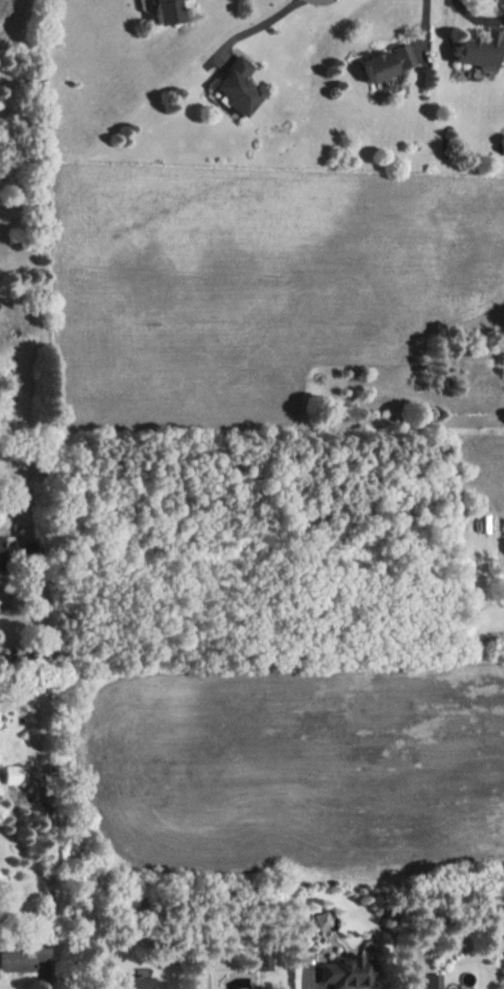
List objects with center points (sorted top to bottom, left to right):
building: (165, 11)
road: (255, 26)
building: (478, 50)
building: (386, 63)
building: (0, 556)
building: (13, 773)
building: (321, 918)
building: (24, 956)
building: (262, 959)
building: (348, 970)
road: (46, 976)
building: (430, 980)
building: (141, 982)
road: (304, 985)

